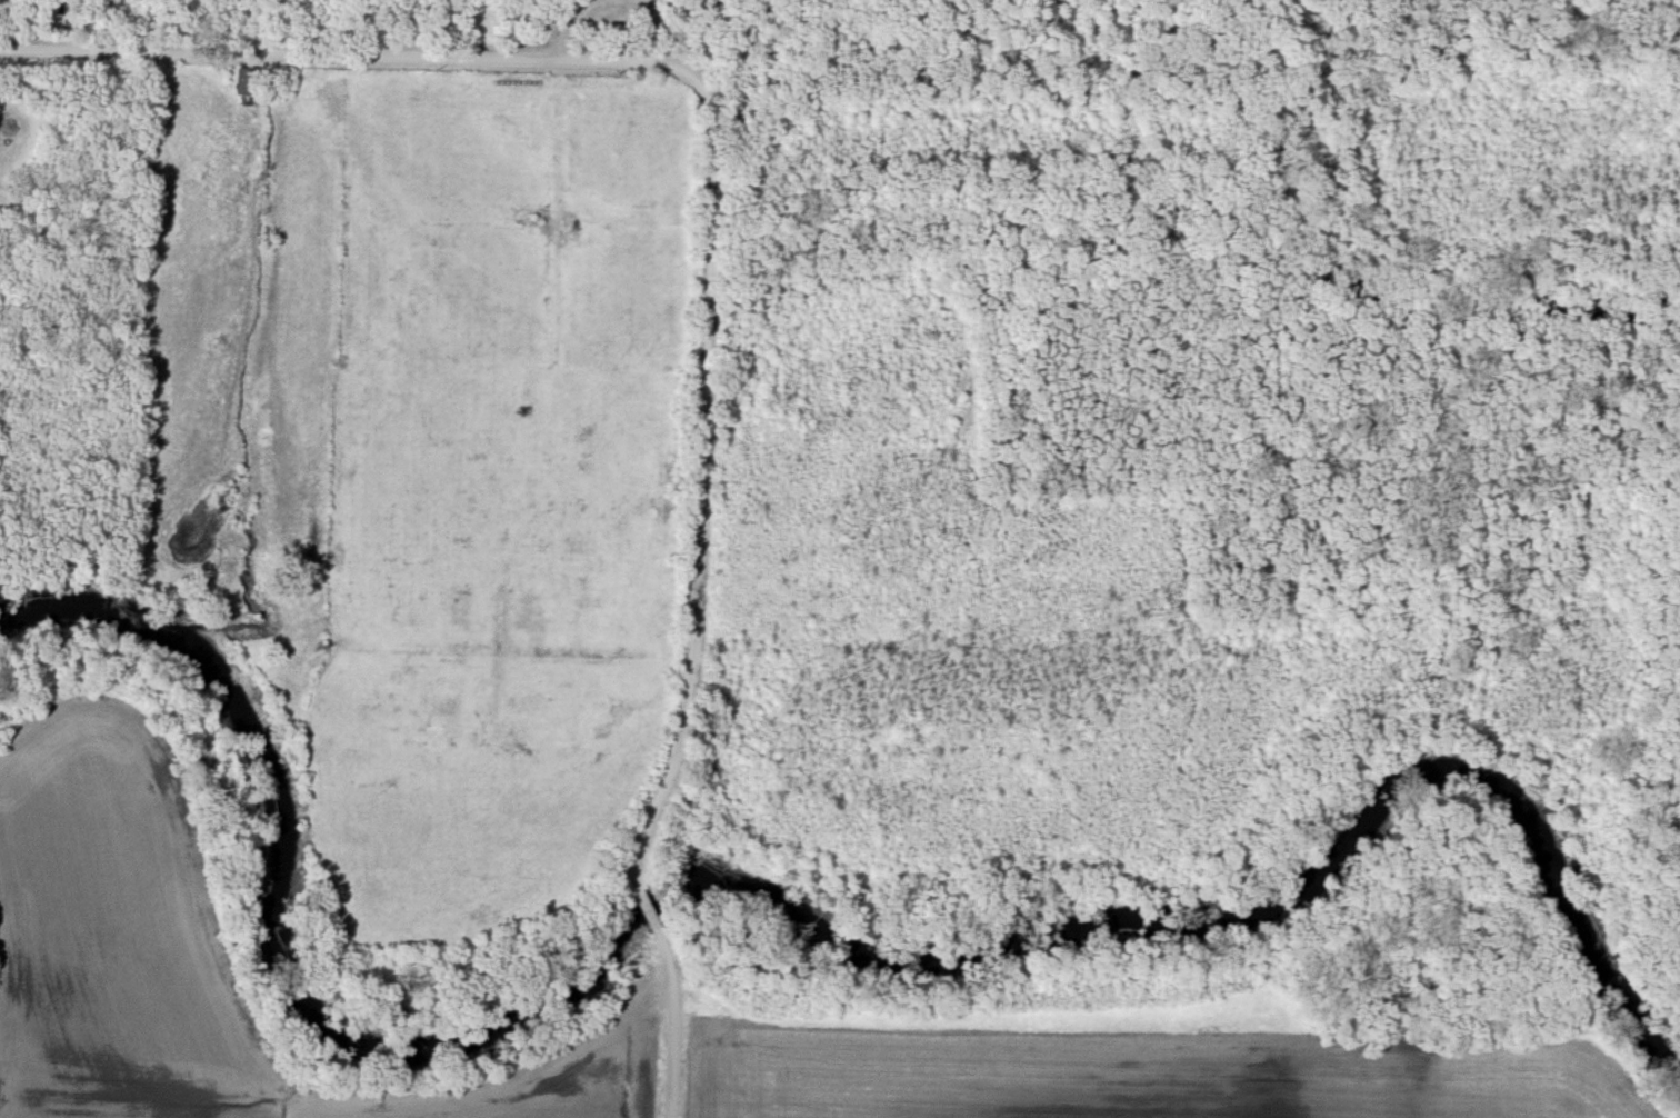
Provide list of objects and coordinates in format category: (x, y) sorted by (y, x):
road: (351, 64)
building: (246, 88)
road: (702, 609)
river: (789, 901)

